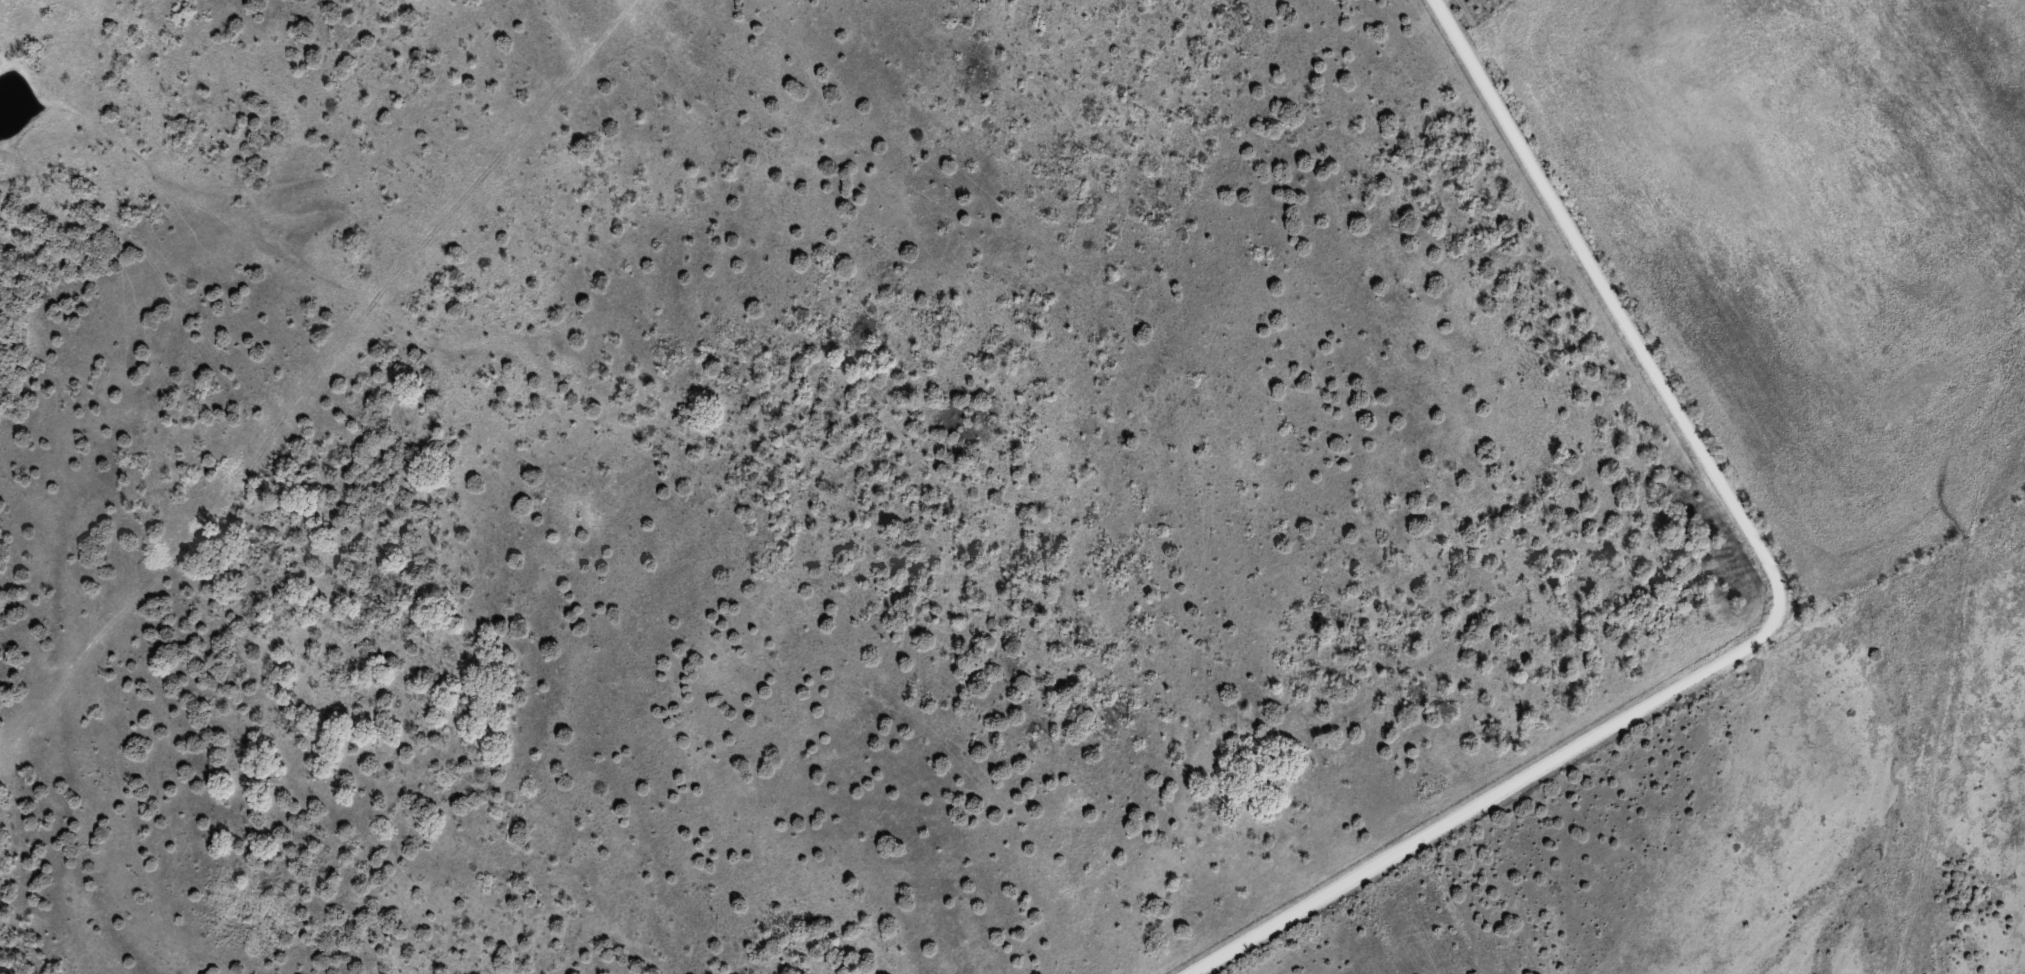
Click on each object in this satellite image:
road: (1785, 605)

